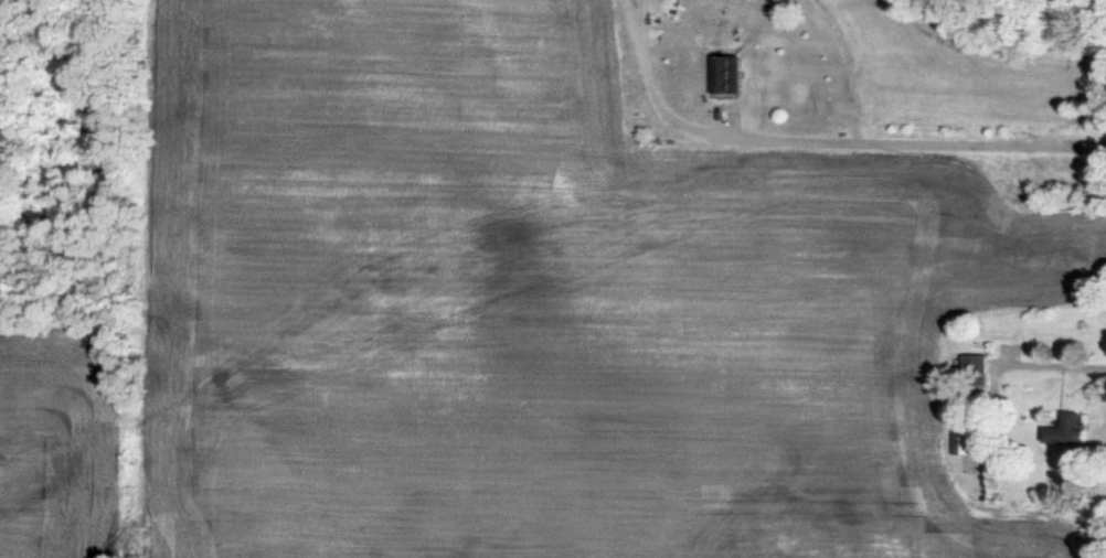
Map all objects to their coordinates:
building: (723, 73)
road: (910, 140)
building: (974, 361)
building: (1063, 429)
building: (959, 439)

